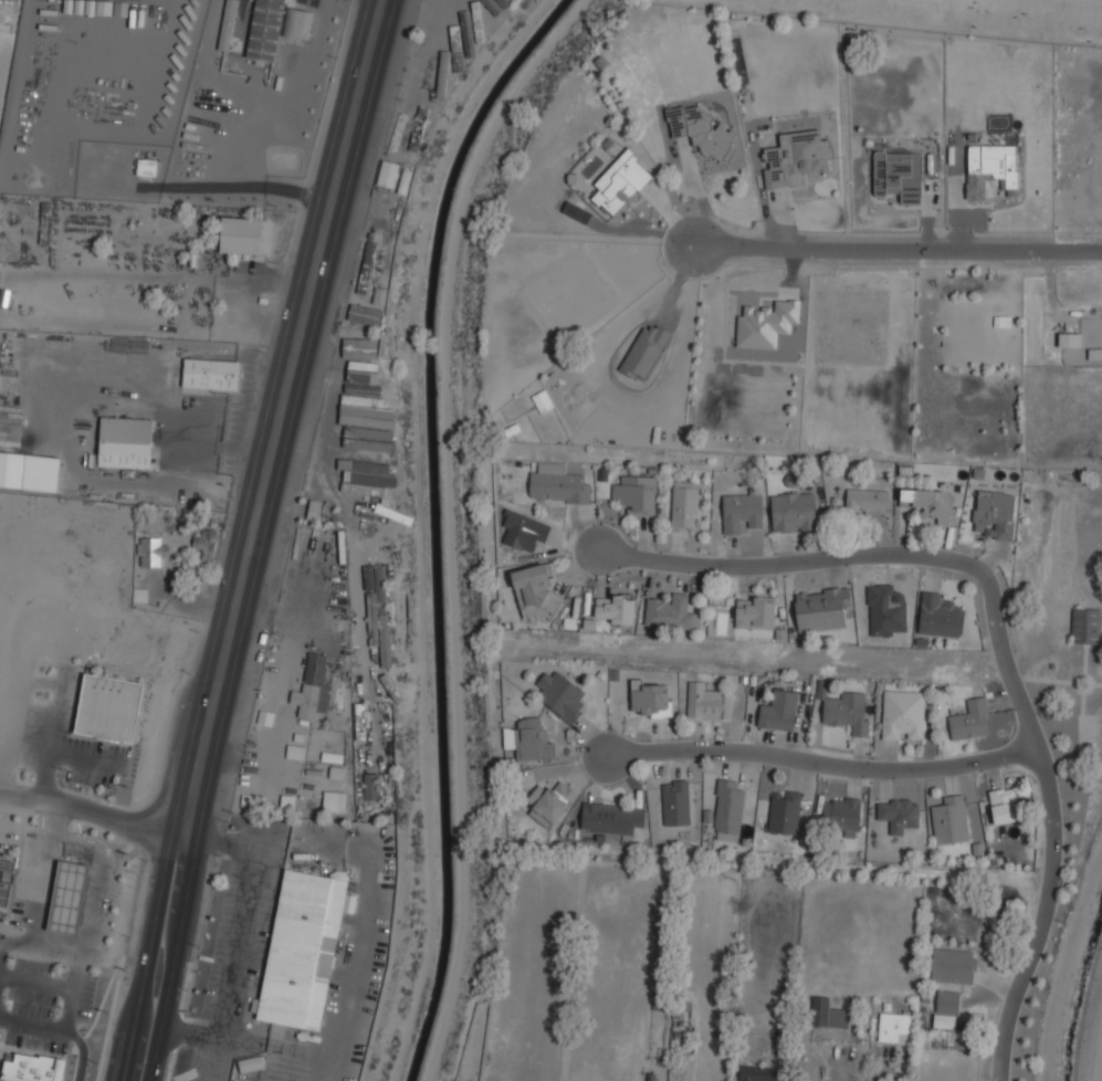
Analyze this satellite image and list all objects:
building: (504, 2)
building: (492, 6)
building: (476, 21)
building: (327, 22)
building: (227, 24)
building: (275, 27)
building: (439, 32)
building: (466, 33)
building: (455, 48)
building: (442, 74)
road: (228, 90)
building: (418, 128)
building: (399, 129)
building: (701, 130)
building: (796, 158)
building: (146, 167)
building: (990, 168)
building: (387, 174)
building: (899, 175)
building: (621, 182)
road: (239, 188)
building: (241, 235)
road: (896, 245)
building: (366, 267)
building: (369, 284)
building: (1069, 339)
building: (644, 350)
building: (82, 360)
building: (210, 374)
building: (364, 390)
building: (10, 432)
building: (125, 442)
building: (357, 451)
building: (11, 470)
building: (366, 481)
building: (559, 486)
building: (636, 494)
building: (351, 502)
building: (862, 502)
building: (385, 505)
building: (684, 505)
building: (933, 506)
building: (743, 512)
building: (793, 513)
building: (994, 514)
building: (376, 521)
road: (256, 539)
building: (204, 540)
building: (149, 550)
road: (810, 558)
building: (368, 577)
building: (533, 587)
building: (821, 607)
building: (616, 608)
building: (885, 610)
building: (672, 612)
building: (755, 612)
building: (941, 616)
building: (379, 618)
building: (1087, 626)
building: (312, 688)
building: (560, 695)
building: (651, 700)
building: (707, 701)
building: (108, 709)
building: (779, 711)
building: (849, 712)
building: (903, 714)
building: (970, 720)
building: (532, 741)
road: (827, 764)
building: (370, 786)
building: (333, 800)
building: (550, 801)
building: (676, 801)
building: (1005, 805)
building: (728, 806)
building: (785, 811)
road: (93, 814)
building: (898, 814)
building: (842, 815)
building: (611, 818)
building: (949, 820)
road: (1053, 842)
building: (7, 881)
building: (67, 896)
road: (243, 946)
building: (302, 948)
building: (954, 966)
building: (947, 1009)
building: (829, 1014)
building: (895, 1028)
building: (30, 1068)
building: (759, 1073)

